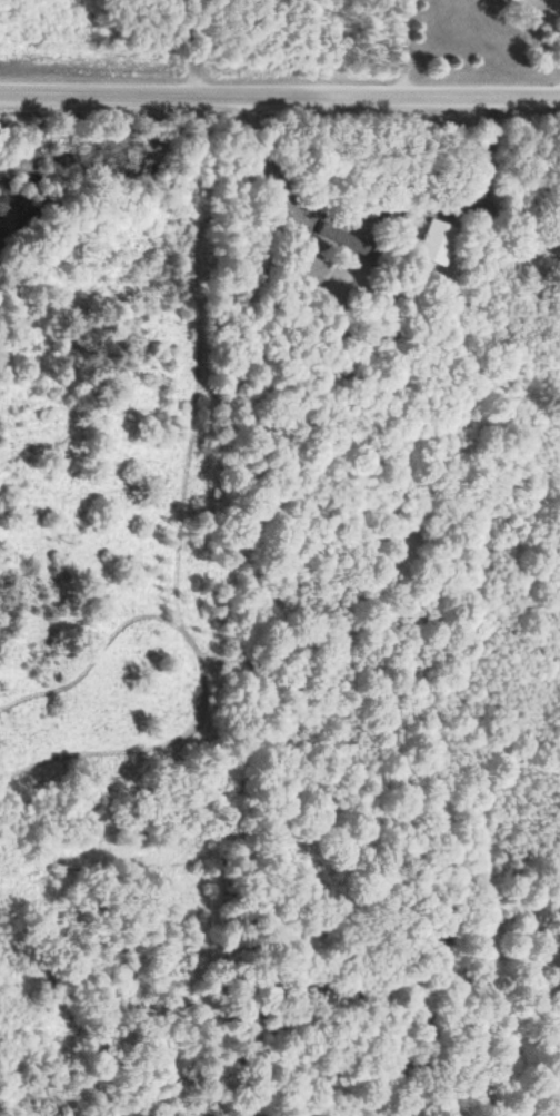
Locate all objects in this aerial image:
road: (404, 48)
road: (279, 95)
road: (289, 199)

